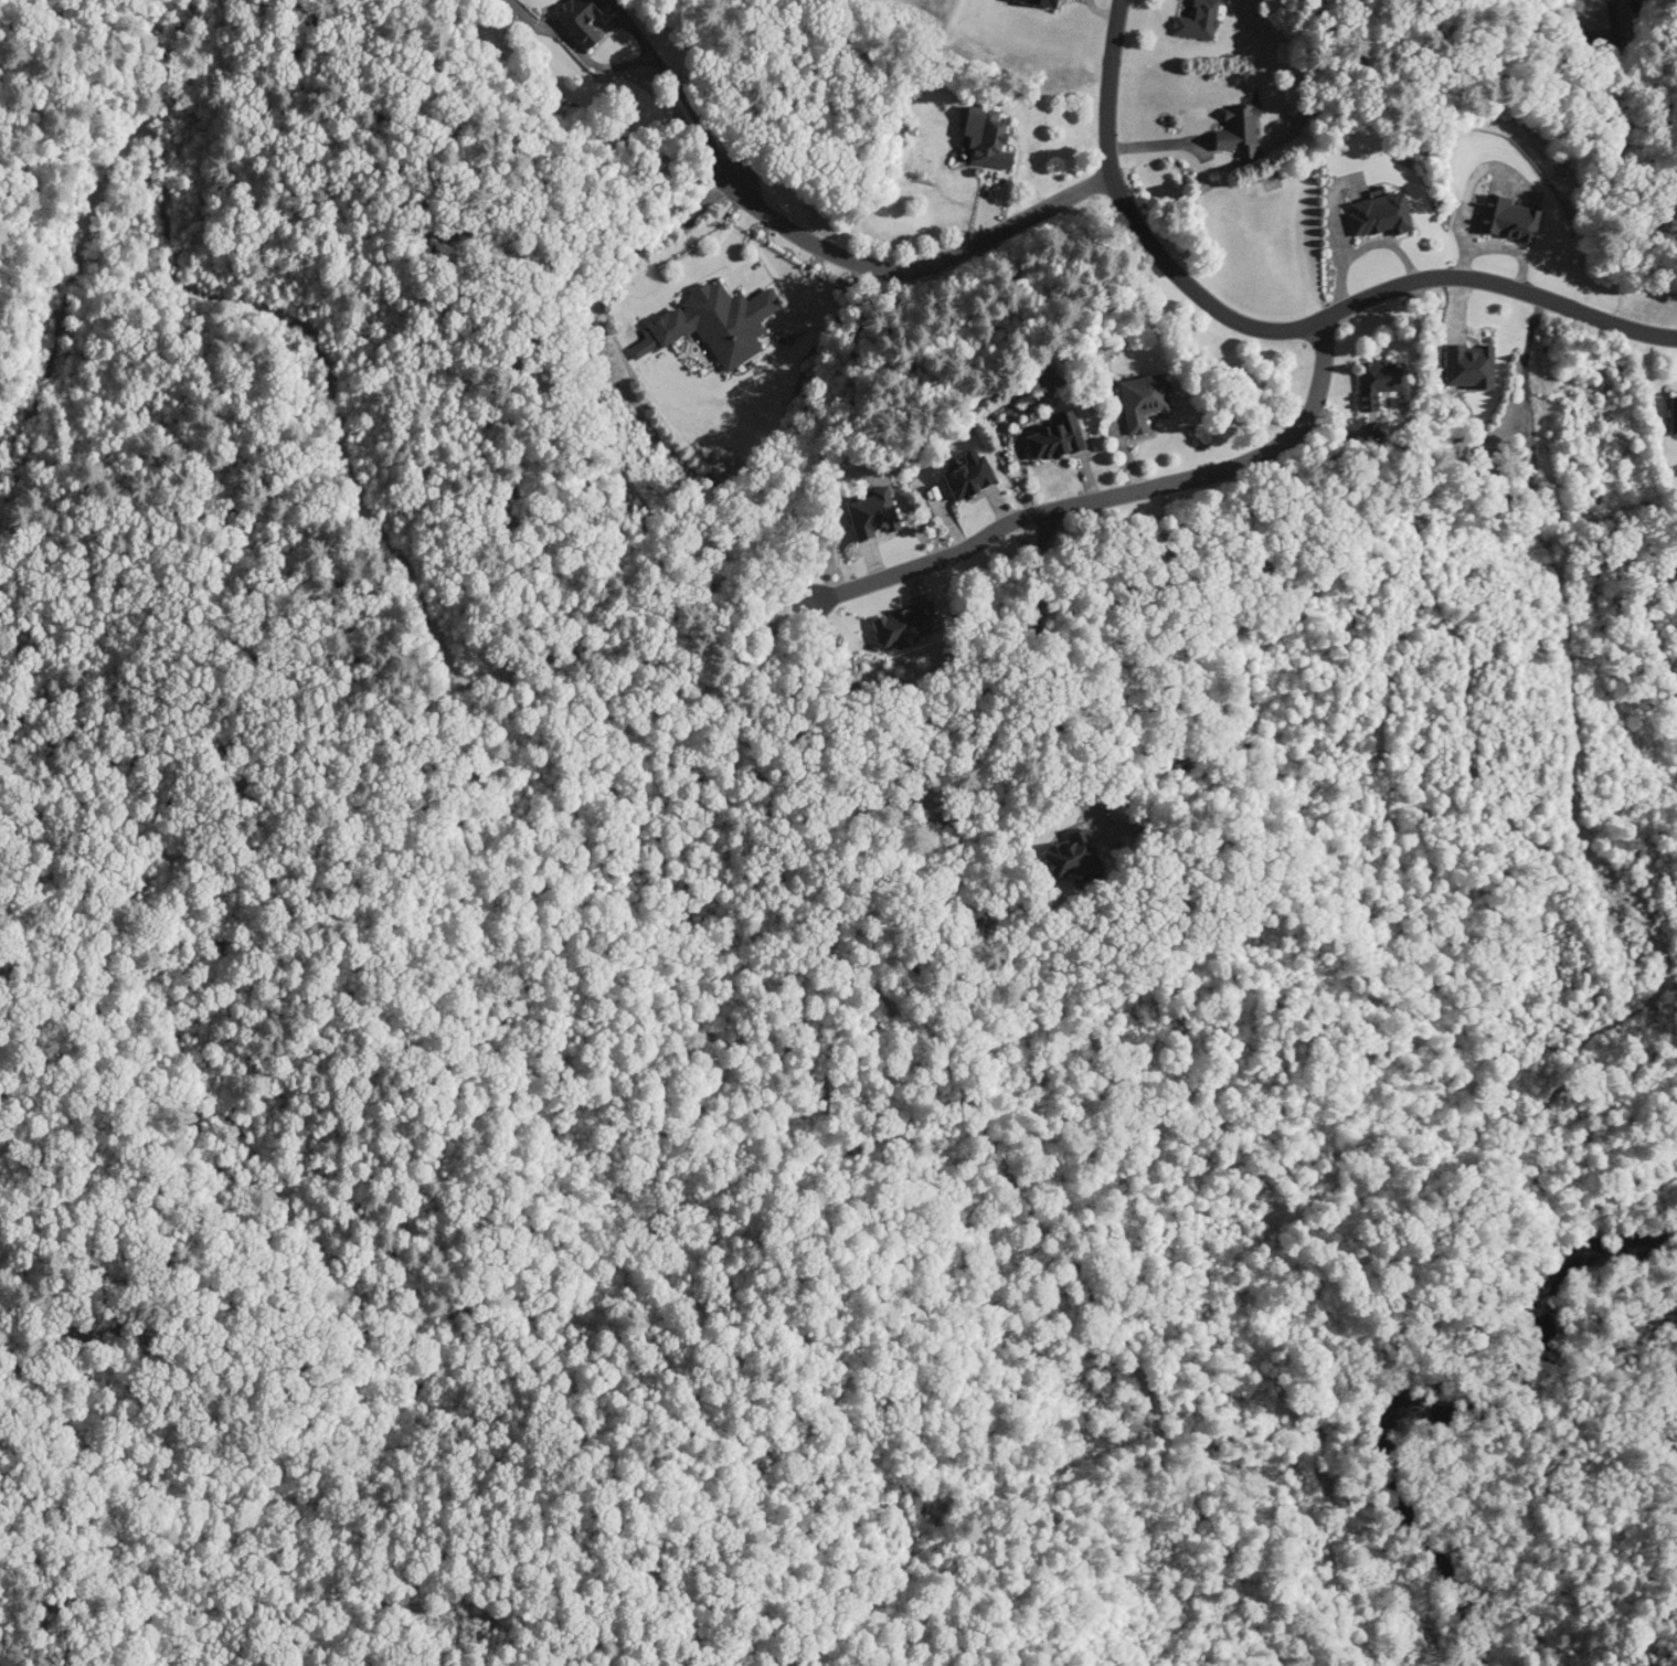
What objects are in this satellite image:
building: (576, 18)
building: (1193, 20)
building: (1584, 20)
road: (677, 87)
building: (1234, 130)
building: (983, 137)
building: (1374, 214)
road: (908, 262)
building: (708, 322)
road: (1278, 325)
building: (1464, 364)
building: (1376, 381)
building: (1139, 400)
building: (1670, 415)
building: (1052, 437)
building: (964, 475)
road: (1117, 491)
road: (1044, 676)
building: (1068, 857)

